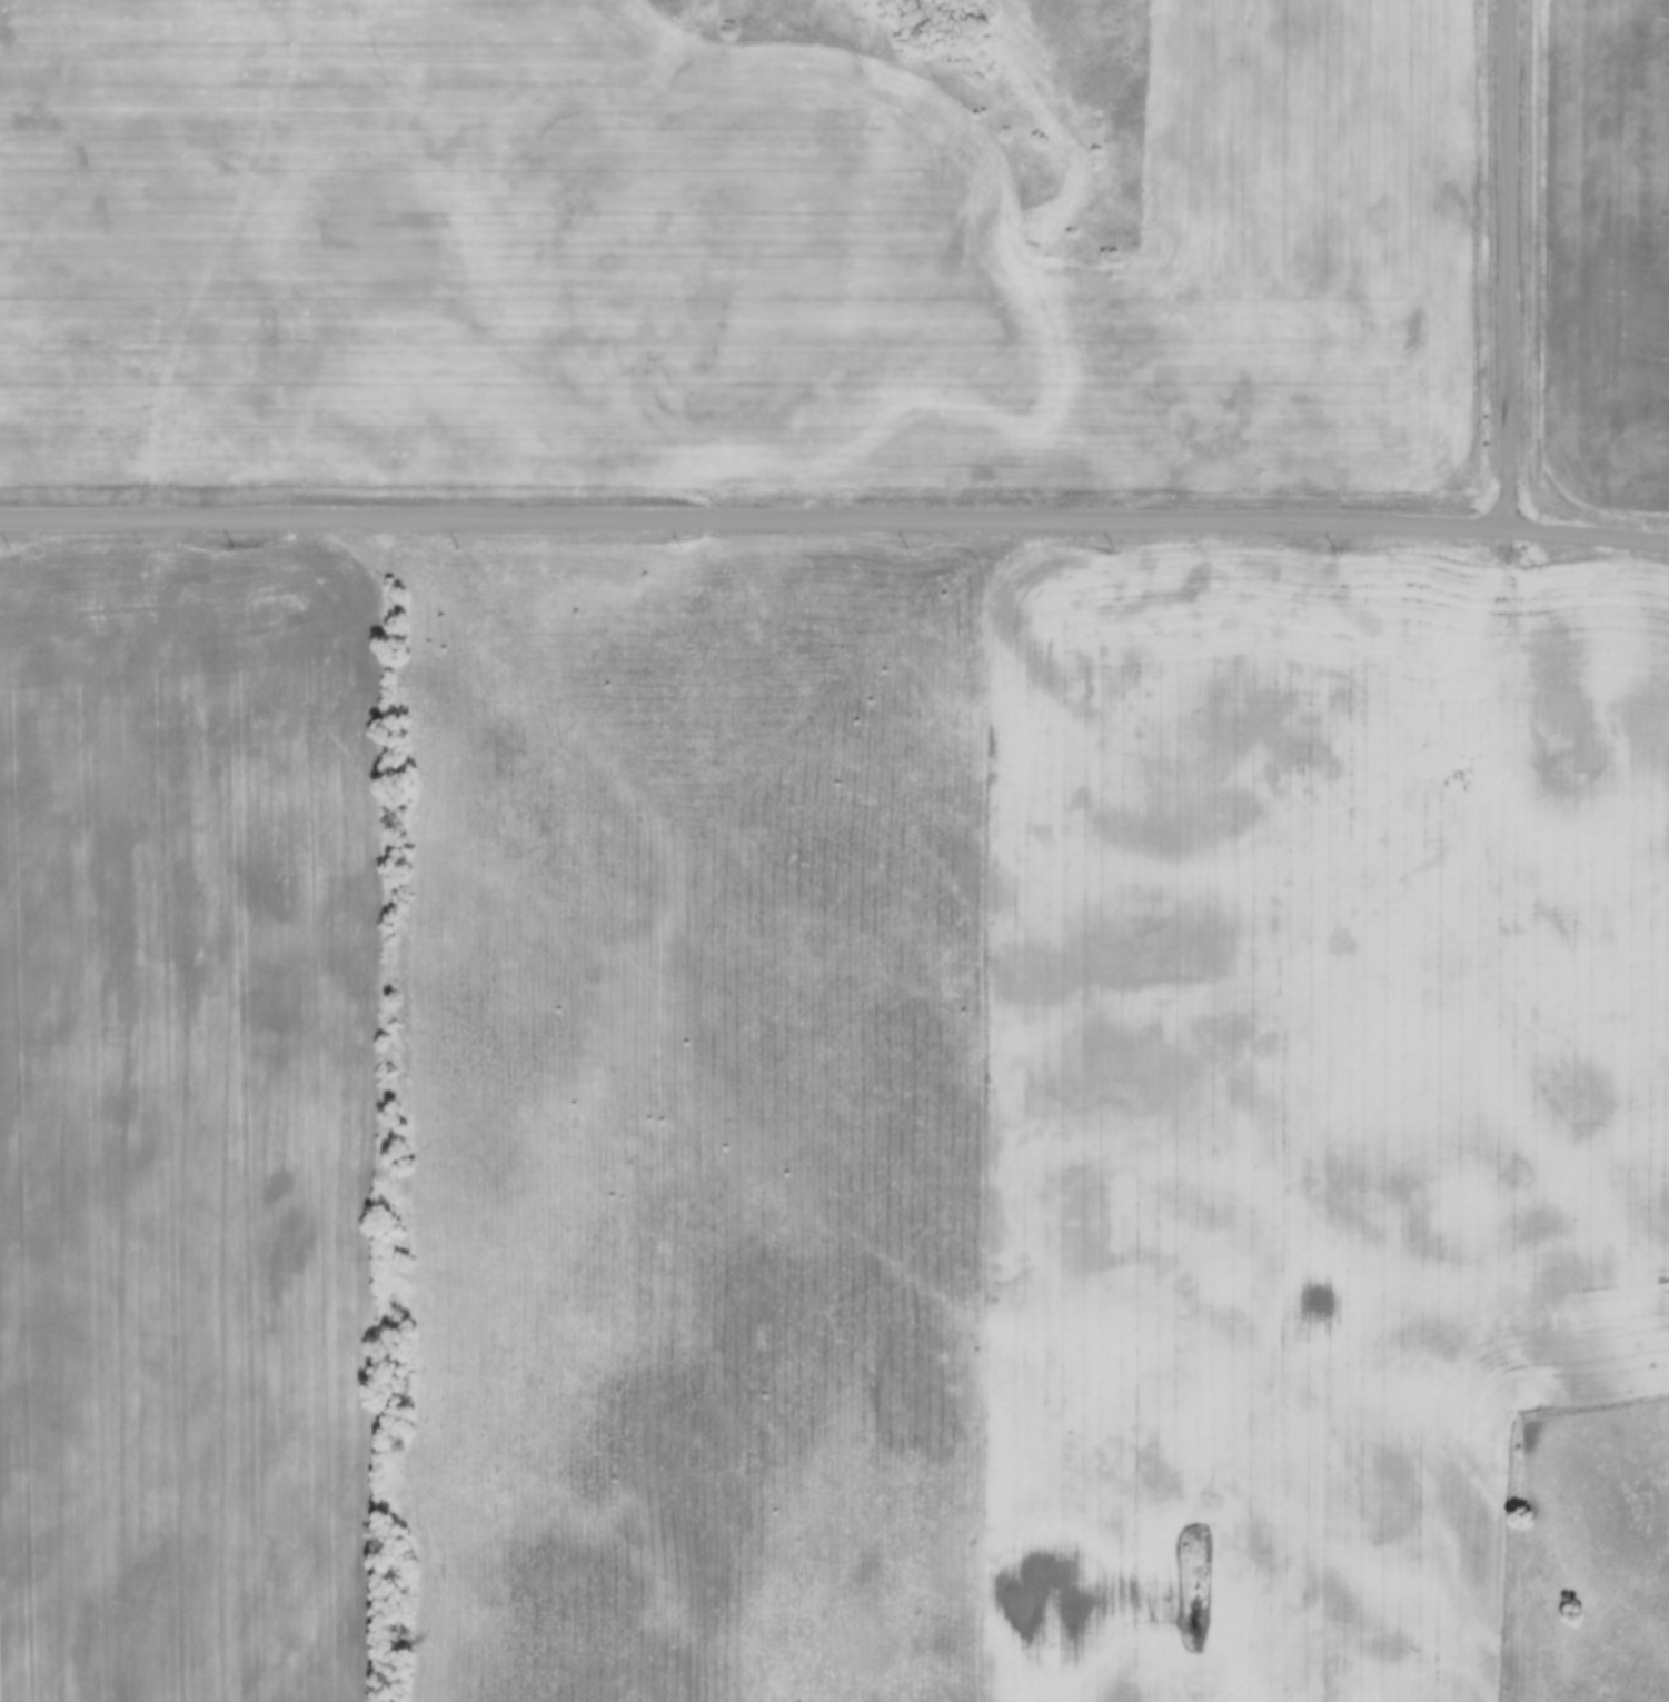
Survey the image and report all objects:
road: (1507, 262)
road: (753, 516)
road: (1587, 533)

